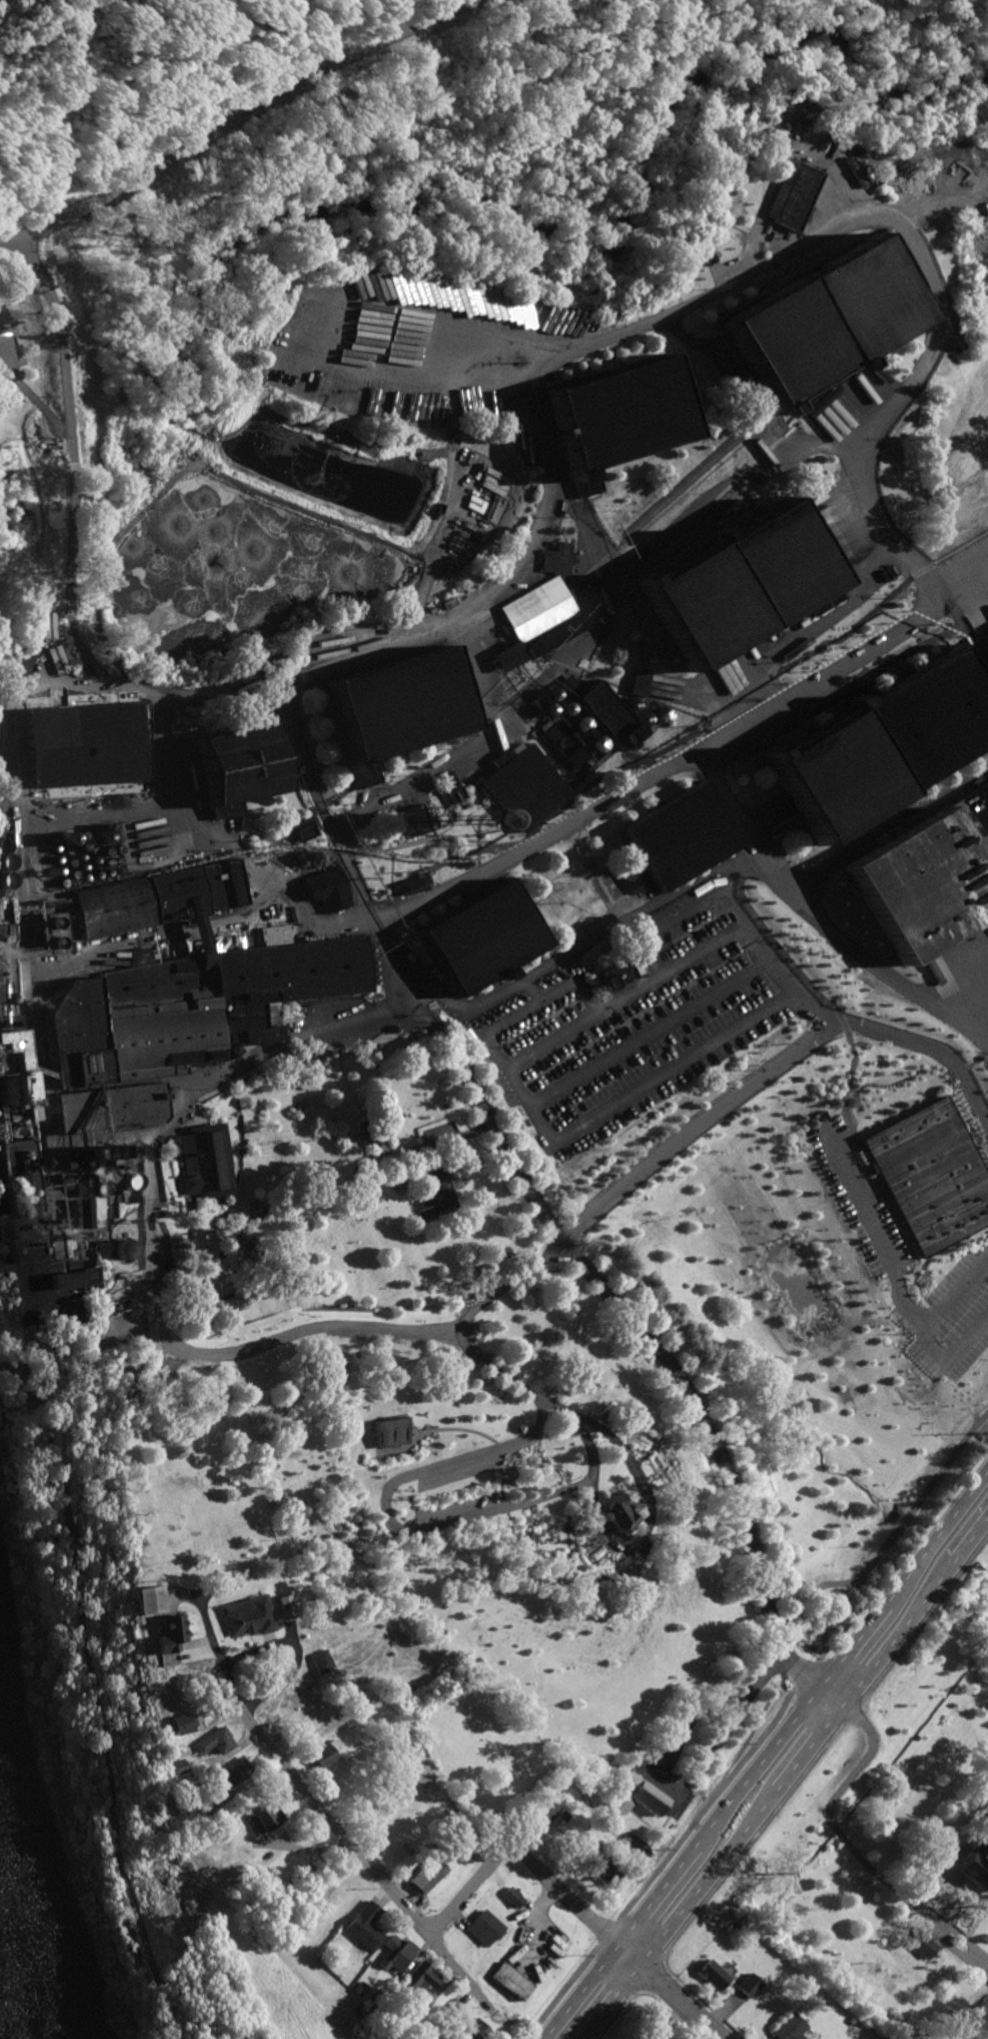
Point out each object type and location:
road: (233, 116)
building: (785, 195)
road: (919, 255)
building: (704, 257)
building: (897, 265)
building: (853, 297)
building: (778, 341)
parking lot: (11, 348)
road: (37, 400)
railway: (819, 403)
building: (612, 417)
road: (65, 473)
road: (216, 476)
railway: (705, 477)
railway: (688, 479)
railway: (682, 490)
railway: (658, 501)
railway: (573, 508)
railway: (571, 510)
railway: (705, 521)
railway: (671, 538)
road: (961, 547)
road: (648, 549)
building: (556, 557)
building: (773, 564)
railway: (640, 568)
building: (884, 575)
road: (501, 576)
road: (633, 593)
building: (446, 602)
building: (697, 605)
building: (429, 609)
building: (536, 620)
road: (968, 633)
road: (641, 642)
building: (22, 658)
railway: (363, 664)
railway: (582, 670)
building: (267, 671)
road: (607, 681)
building: (637, 682)
building: (570, 685)
railway: (636, 690)
road: (278, 696)
railway: (674, 704)
building: (393, 707)
building: (607, 714)
building: (925, 719)
building: (579, 723)
railway: (471, 728)
building: (82, 742)
building: (564, 743)
road: (469, 753)
road: (683, 760)
building: (591, 765)
building: (233, 768)
railway: (282, 770)
building: (832, 775)
railway: (321, 777)
building: (449, 778)
railway: (367, 779)
building: (523, 784)
building: (455, 793)
road: (728, 799)
road: (480, 818)
water tower: (471, 819)
building: (411, 821)
road: (892, 826)
building: (301, 828)
road: (253, 834)
road: (282, 834)
road: (226, 836)
road: (444, 837)
building: (676, 837)
road: (381, 849)
road: (392, 869)
building: (928, 878)
park: (611, 883)
railway: (624, 884)
building: (410, 885)
building: (328, 889)
building: (160, 897)
road: (371, 914)
road: (741, 918)
building: (196, 922)
road: (28, 923)
building: (53, 926)
building: (478, 938)
road: (586, 942)
road: (866, 955)
road: (587, 966)
railway: (526, 967)
building: (290, 971)
building: (616, 972)
building: (4, 973)
road: (781, 975)
road: (809, 982)
railway: (491, 986)
road: (533, 989)
road: (530, 1006)
building: (808, 1006)
road: (291, 1009)
road: (670, 1018)
parking lot: (637, 1020)
building: (6, 1021)
building: (133, 1021)
building: (248, 1023)
building: (393, 1028)
flagpole: (419, 1036)
road: (932, 1047)
road: (341, 1048)
building: (7, 1050)
building: (371, 1063)
silo: (14, 1077)
silo: (4, 1078)
building: (10, 1087)
silo: (14, 1087)
silo: (4, 1089)
silo: (6, 1099)
road: (183, 1102)
road: (614, 1106)
building: (297, 1108)
building: (107, 1109)
road: (482, 1116)
road: (353, 1119)
road: (211, 1122)
road: (698, 1125)
road: (850, 1127)
parking lot: (440, 1128)
road: (472, 1128)
building: (372, 1133)
road: (106, 1136)
road: (320, 1136)
road: (266, 1142)
road: (242, 1146)
road: (858, 1146)
road: (226, 1147)
road: (234, 1147)
chimney: (20, 1151)
chimney: (21, 1156)
building: (87, 1157)
building: (203, 1160)
road: (873, 1167)
building: (930, 1172)
road: (230, 1180)
road: (281, 1184)
building: (78, 1185)
chimney: (21, 1191)
road: (214, 1196)
road: (890, 1204)
road: (230, 1205)
road: (244, 1209)
building: (83, 1214)
road: (111, 1226)
road: (206, 1232)
road: (241, 1236)
building: (195, 1237)
building: (32, 1242)
road: (206, 1248)
road: (242, 1250)
parking lot: (902, 1252)
road: (916, 1255)
road: (893, 1268)
road: (203, 1292)
road: (227, 1295)
road: (214, 1296)
road: (945, 1320)
road: (952, 1356)
road: (437, 1429)
building: (387, 1431)
road: (583, 1434)
road: (721, 1462)
parking lot: (464, 1463)
road: (546, 1463)
road: (526, 1464)
road: (673, 1474)
road: (630, 1499)
parking lot: (456, 1511)
building: (612, 1511)
road: (384, 1513)
road: (562, 1529)
road: (523, 1533)
building: (144, 1599)
building: (282, 1606)
building: (246, 1614)
building: (168, 1633)
road: (211, 1639)
road: (298, 1649)
building: (321, 1660)
road: (771, 1720)
building: (179, 1722)
building: (215, 1740)
road: (705, 1748)
building: (325, 1753)
road: (766, 1753)
parking lot: (668, 1759)
building: (176, 1765)
building: (235, 1771)
road: (785, 1776)
road: (792, 1786)
building: (640, 1792)
building: (185, 1803)
building: (620, 1803)
building: (546, 1809)
building: (563, 1815)
building: (266, 1816)
road: (336, 1824)
building: (629, 1848)
road: (852, 1849)
road: (522, 1857)
building: (974, 1866)
building: (602, 1868)
building: (426, 1875)
building: (512, 1896)
building: (363, 1924)
building: (482, 1926)
building: (923, 1945)
road: (952, 1948)
building: (394, 1953)
road: (457, 1970)
building: (711, 1974)
building: (421, 1978)
building: (509, 1980)
building: (747, 1984)
building: (357, 1986)
road: (671, 1991)
road: (697, 1997)
building: (454, 2005)
building: (415, 2017)
building: (473, 2030)
building: (651, 2035)

